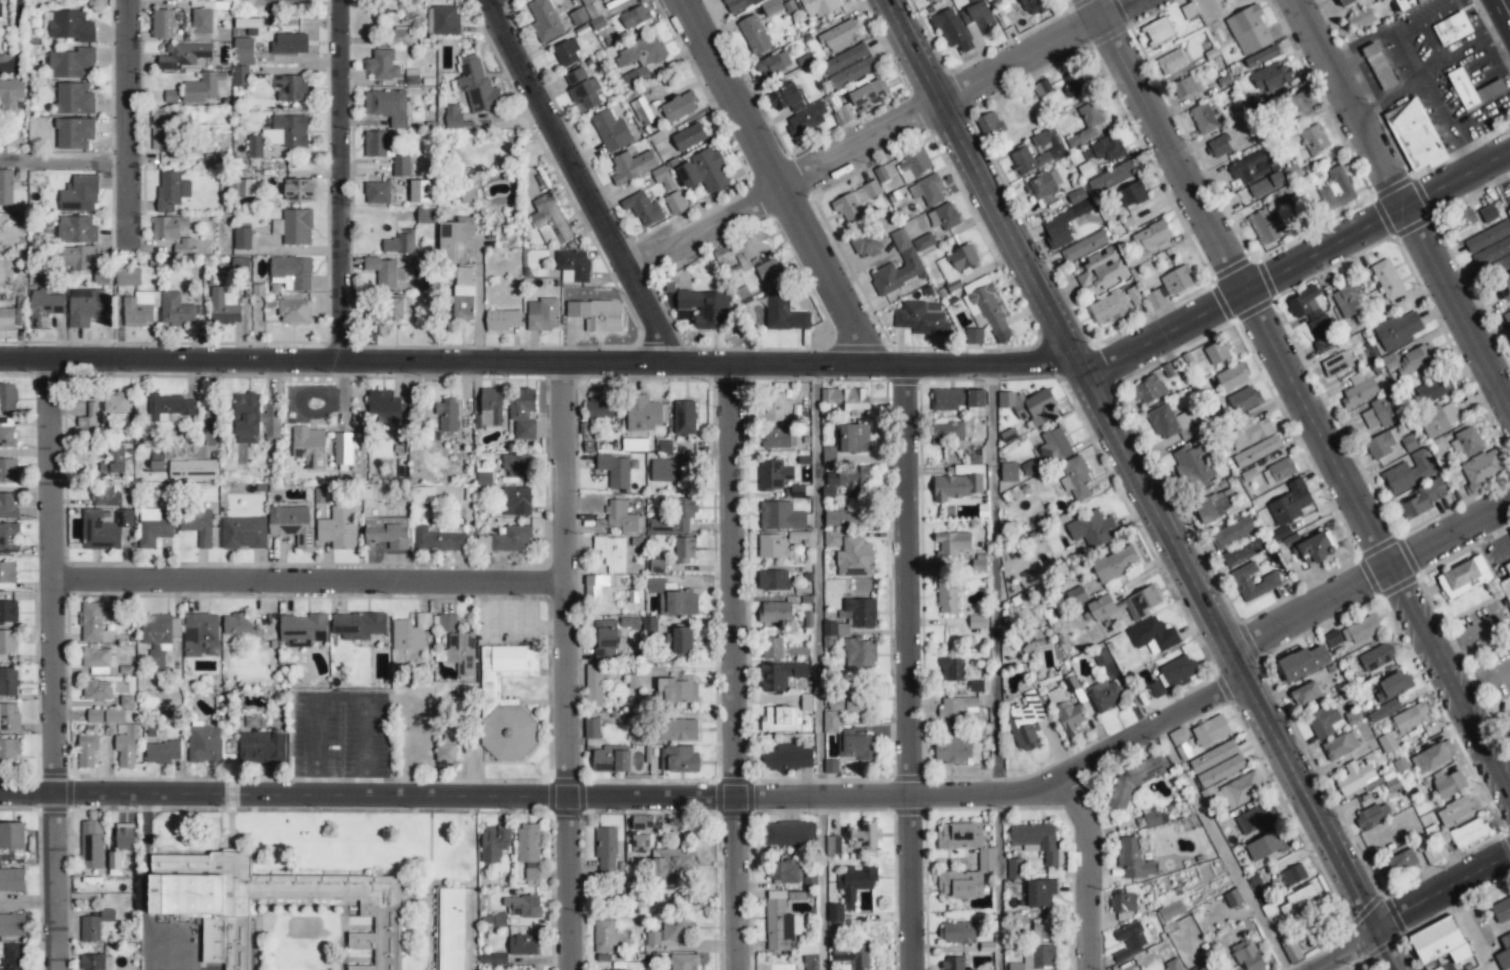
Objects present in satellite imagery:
building: (286, 0)
building: (929, 0)
building: (1377, 0)
building: (1346, 2)
building: (737, 4)
building: (1407, 4)
building: (590, 6)
building: (771, 6)
building: (818, 7)
building: (1033, 7)
road: (1506, 7)
building: (0, 8)
building: (577, 16)
building: (634, 16)
building: (1359, 18)
building: (977, 19)
building: (201, 20)
building: (445, 20)
building: (544, 20)
building: (162, 23)
building: (245, 23)
building: (70, 26)
building: (1452, 28)
building: (951, 29)
building: (1248, 30)
building: (1157, 32)
building: (754, 34)
building: (400, 36)
building: (840, 36)
road: (1369, 36)
building: (290, 43)
building: (243, 51)
road: (1035, 51)
building: (566, 52)
building: (183, 55)
building: (641, 55)
road: (1434, 55)
building: (1261, 56)
building: (1171, 62)
building: (71, 63)
building: (773, 64)
building: (382, 65)
building: (848, 65)
building: (1378, 66)
building: (240, 75)
building: (1272, 76)
building: (1074, 82)
building: (1460, 84)
building: (477, 85)
building: (203, 87)
building: (1041, 87)
building: (1184, 87)
building: (289, 88)
building: (581, 88)
building: (10, 94)
building: (868, 94)
building: (164, 97)
building: (784, 97)
building: (74, 99)
road: (1388, 100)
building: (387, 106)
building: (678, 106)
building: (1297, 106)
road: (1443, 114)
building: (452, 116)
building: (1203, 118)
building: (805, 120)
road: (123, 122)
building: (1087, 123)
building: (990, 124)
building: (610, 130)
building: (163, 131)
building: (287, 131)
building: (74, 133)
building: (1417, 136)
building: (689, 137)
building: (1314, 140)
building: (378, 144)
building: (254, 146)
building: (1218, 146)
building: (1050, 149)
building: (1103, 150)
road: (61, 160)
building: (215, 160)
building: (914, 164)
building: (401, 165)
building: (631, 166)
building: (1249, 168)
building: (703, 171)
building: (659, 174)
building: (1111, 177)
road: (339, 181)
road: (782, 181)
road: (584, 182)
building: (1266, 184)
road: (783, 185)
building: (6, 186)
building: (246, 187)
building: (299, 189)
building: (871, 189)
building: (1042, 189)
building: (1337, 189)
building: (171, 190)
building: (467, 190)
building: (927, 190)
building: (419, 191)
building: (377, 192)
building: (79, 194)
building: (1131, 194)
building: (1076, 195)
building: (675, 203)
building: (850, 205)
building: (643, 208)
road: (1398, 208)
building: (1509, 208)
building: (1488, 213)
building: (425, 215)
building: (947, 216)
building: (1463, 218)
building: (550, 220)
building: (1063, 224)
building: (294, 226)
building: (1263, 227)
building: (76, 230)
building: (172, 233)
building: (1151, 235)
building: (1488, 237)
building: (242, 238)
building: (454, 241)
building: (400, 242)
building: (923, 242)
building: (866, 244)
building: (1084, 246)
building: (905, 248)
building: (743, 250)
building: (1492, 252)
building: (83, 262)
building: (957, 262)
building: (1505, 262)
building: (240, 263)
road: (1297, 264)
building: (572, 265)
building: (769, 270)
building: (1101, 270)
building: (384, 271)
building: (291, 272)
building: (128, 276)
building: (1387, 279)
building: (1505, 285)
building: (1170, 286)
building: (463, 293)
building: (1348, 299)
building: (1305, 304)
building: (1114, 305)
building: (84, 306)
building: (224, 306)
building: (43, 307)
building: (140, 308)
building: (394, 308)
building: (706, 308)
building: (985, 308)
building: (293, 309)
building: (176, 310)
building: (784, 313)
building: (543, 314)
building: (596, 314)
road: (476, 315)
building: (1507, 317)
building: (11, 318)
building: (921, 318)
building: (501, 319)
building: (1398, 330)
building: (1322, 333)
building: (974, 336)
building: (1217, 352)
building: (1415, 358)
road: (538, 363)
building: (1336, 363)
building: (1232, 377)
building: (1148, 389)
building: (1433, 390)
building: (1359, 393)
building: (7, 398)
building: (845, 398)
road: (1297, 398)
building: (956, 399)
building: (1243, 399)
building: (115, 402)
building: (168, 406)
building: (384, 406)
building: (490, 406)
building: (1030, 406)
building: (599, 407)
building: (775, 407)
building: (1382, 411)
building: (522, 413)
building: (642, 413)
building: (446, 414)
building: (684, 417)
building: (254, 419)
building: (88, 420)
building: (1438, 420)
building: (1173, 423)
building: (7, 431)
building: (947, 432)
building: (1251, 433)
building: (777, 438)
building: (854, 438)
building: (1467, 441)
building: (1382, 443)
building: (634, 444)
building: (1055, 445)
building: (309, 446)
building: (345, 449)
building: (1256, 451)
building: (828, 455)
building: (113, 460)
building: (517, 465)
building: (1193, 465)
building: (192, 469)
building: (1481, 469)
building: (8, 470)
building: (615, 470)
building: (671, 470)
building: (1013, 471)
building: (1278, 471)
building: (1408, 472)
building: (773, 475)
building: (483, 477)
building: (1075, 478)
building: (846, 480)
road: (1142, 484)
building: (955, 486)
building: (423, 494)
building: (103, 495)
building: (1425, 498)
building: (516, 501)
building: (1290, 503)
building: (8, 505)
building: (1213, 505)
building: (675, 516)
building: (781, 516)
building: (618, 517)
building: (845, 518)
building: (196, 524)
building: (291, 524)
building: (153, 527)
building: (338, 528)
building: (104, 529)
building: (1092, 529)
building: (243, 532)
building: (386, 532)
building: (1232, 532)
building: (9, 537)
building: (802, 537)
building: (832, 538)
building: (438, 540)
building: (507, 540)
building: (952, 543)
building: (772, 546)
building: (1316, 547)
building: (684, 550)
building: (1243, 551)
building: (611, 552)
building: (855, 558)
building: (1115, 563)
building: (657, 565)
building: (7, 572)
road: (819, 576)
road: (995, 577)
building: (1465, 577)
road: (1370, 578)
building: (773, 580)
building: (1269, 580)
road: (310, 582)
building: (1506, 583)
building: (594, 587)
building: (949, 596)
building: (1076, 596)
building: (673, 599)
building: (1141, 601)
building: (1098, 608)
building: (8, 612)
building: (775, 612)
building: (858, 612)
building: (977, 621)
building: (447, 622)
building: (629, 622)
building: (92, 623)
building: (237, 625)
building: (357, 625)
building: (649, 625)
building: (302, 629)
building: (1361, 629)
road: (1473, 630)
building: (410, 632)
building: (833, 632)
building: (159, 635)
building: (201, 635)
building: (1152, 635)
building: (1332, 638)
building: (681, 639)
building: (605, 640)
building: (7, 642)
building: (772, 648)
building: (795, 651)
building: (459, 653)
building: (859, 654)
building: (1376, 657)
building: (1102, 658)
building: (99, 660)
building: (1303, 662)
road: (50, 664)
road: (907, 666)
road: (567, 667)
road: (731, 667)
building: (952, 668)
building: (1178, 671)
building: (780, 675)
building: (8, 681)
road: (1483, 684)
building: (593, 685)
building: (677, 689)
building: (1156, 689)
building: (97, 690)
building: (1305, 693)
building: (1389, 694)
building: (1104, 695)
road: (340, 696)
building: (846, 701)
building: (506, 702)
building: (807, 702)
building: (957, 706)
building: (1066, 711)
building: (94, 716)
building: (114, 716)
building: (9, 718)
building: (1409, 718)
building: (778, 719)
building: (1325, 721)
building: (830, 722)
building: (1026, 722)
building: (592, 728)
building: (678, 729)
building: (1211, 732)
building: (1178, 737)
building: (1387, 742)
building: (204, 744)
building: (856, 745)
building: (1340, 746)
building: (261, 747)
building: (126, 748)
building: (446, 749)
building: (9, 750)
building: (87, 750)
building: (952, 750)
building: (162, 752)
building: (1437, 754)
building: (788, 757)
building: (679, 759)
building: (610, 760)
building: (1217, 764)
building: (830, 766)
building: (1355, 777)
building: (1134, 781)
building: (1449, 784)
building: (1242, 790)
road: (636, 795)
building: (1456, 810)
building: (1372, 814)
building: (1256, 817)
building: (1152, 818)
building: (1468, 832)
building: (790, 833)
building: (12, 836)
building: (124, 836)
building: (862, 836)
building: (1036, 840)
building: (965, 841)
building: (494, 843)
building: (641, 843)
building: (91, 844)
building: (833, 845)
building: (1268, 845)
road: (1225, 847)
building: (606, 849)
building: (528, 851)
building: (1134, 859)
building: (115, 860)
road: (1085, 862)
building: (1399, 864)
building: (672, 865)
building: (1013, 868)
building: (785, 870)
building: (1293, 875)
building: (12, 880)
building: (810, 881)
building: (855, 881)
road: (998, 881)
road: (820, 882)
building: (960, 884)
road: (1441, 888)
building: (1040, 893)
building: (1233, 898)
building: (1298, 901)
building: (1123, 903)
building: (523, 905)
building: (1170, 910)
building: (1502, 910)
building: (835, 912)
building: (287, 914)
building: (493, 919)
building: (777, 922)
building: (12, 925)
building: (94, 925)
building: (676, 928)
building: (450, 929)
building: (1042, 929)
building: (957, 932)
building: (605, 936)
building: (1131, 937)
building: (1440, 941)
building: (524, 944)
building: (807, 948)
building: (1292, 952)
road: (1344, 952)
building: (851, 953)
building: (1503, 954)
building: (1247, 955)
building: (1041, 956)
building: (1120, 956)
building: (14, 957)
building: (492, 958)
building: (96, 962)
building: (683, 962)
building: (811, 962)
building: (954, 963)
building: (1203, 967)
building: (622, 969)
building: (1466, 969)

